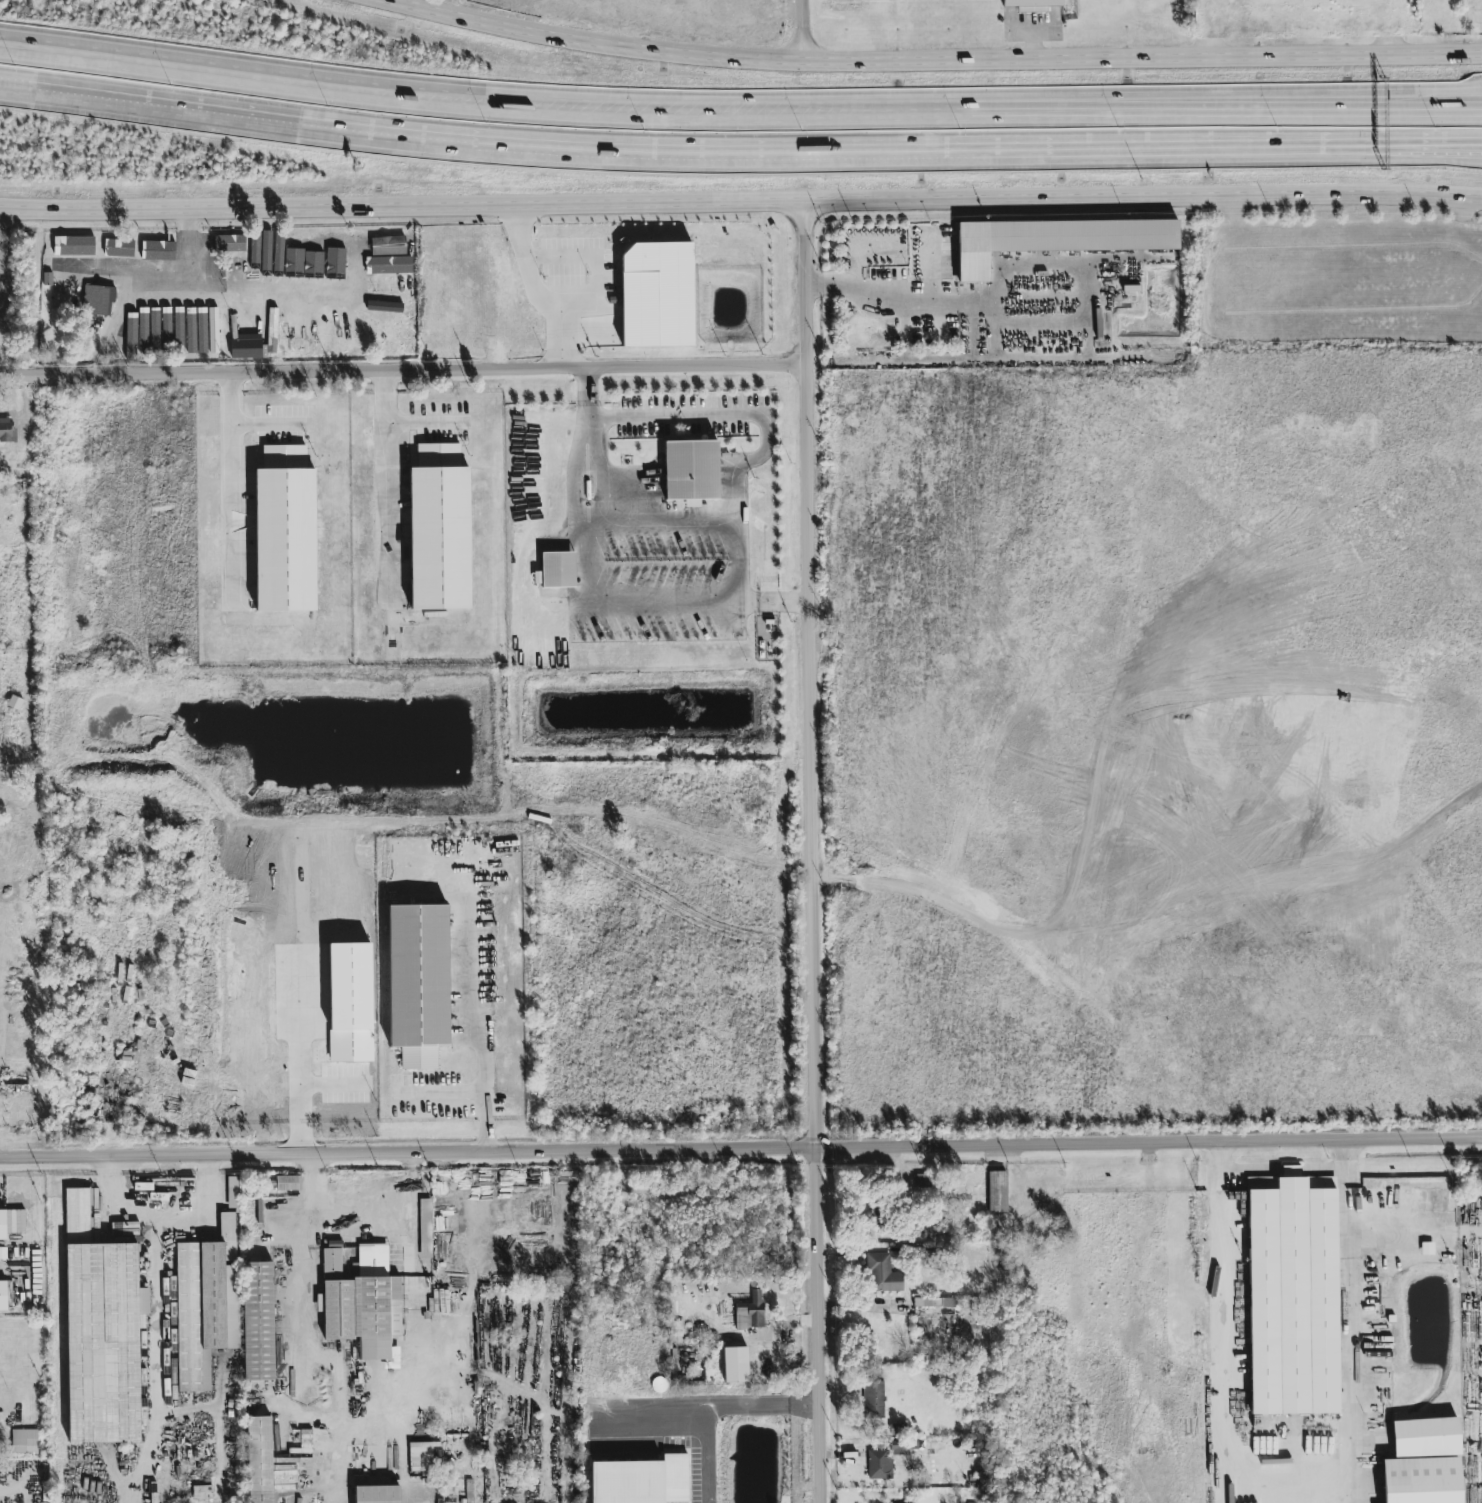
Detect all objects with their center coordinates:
building: (1031, 3)
road: (1034, 23)
road: (801, 29)
road: (1033, 39)
road: (924, 56)
road: (739, 117)
road: (1428, 142)
road: (685, 144)
road: (1428, 149)
road: (741, 204)
building: (1052, 240)
building: (228, 245)
building: (74, 249)
building: (119, 249)
road: (188, 250)
building: (318, 251)
building: (334, 251)
building: (306, 252)
building: (271, 253)
building: (290, 253)
building: (355, 253)
building: (391, 259)
building: (65, 263)
road: (537, 289)
road: (257, 296)
building: (103, 300)
building: (333, 300)
road: (952, 303)
road: (122, 310)
building: (329, 310)
building: (380, 311)
building: (171, 319)
building: (201, 331)
building: (292, 333)
building: (173, 334)
building: (307, 336)
building: (324, 336)
building: (373, 337)
building: (119, 346)
building: (247, 348)
road: (402, 370)
road: (423, 420)
building: (7, 430)
building: (19, 460)
building: (690, 470)
road: (601, 475)
road: (235, 479)
road: (629, 480)
road: (387, 487)
road: (724, 518)
building: (439, 529)
building: (285, 531)
road: (741, 549)
building: (557, 570)
road: (777, 596)
road: (745, 601)
road: (777, 606)
building: (878, 641)
road: (815, 852)
building: (418, 984)
road: (485, 1029)
road: (299, 1063)
road: (331, 1083)
building: (13, 1084)
road: (447, 1091)
building: (19, 1116)
road: (741, 1147)
road: (1283, 1170)
building: (287, 1183)
building: (924, 1185)
building: (231, 1192)
building: (993, 1193)
building: (1409, 1203)
road: (202, 1207)
building: (17, 1221)
building: (2, 1225)
building: (425, 1228)
road: (292, 1266)
building: (882, 1274)
road: (152, 1287)
building: (3, 1296)
building: (361, 1299)
building: (1290, 1299)
building: (933, 1303)
building: (205, 1304)
building: (754, 1311)
road: (1348, 1321)
building: (259, 1322)
road: (1224, 1322)
building: (1380, 1324)
building: (102, 1332)
building: (873, 1400)
building: (897, 1429)
building: (23, 1441)
building: (900, 1448)
building: (421, 1458)
building: (259, 1460)
building: (1421, 1463)
building: (879, 1464)
building: (19, 1474)
building: (378, 1495)

